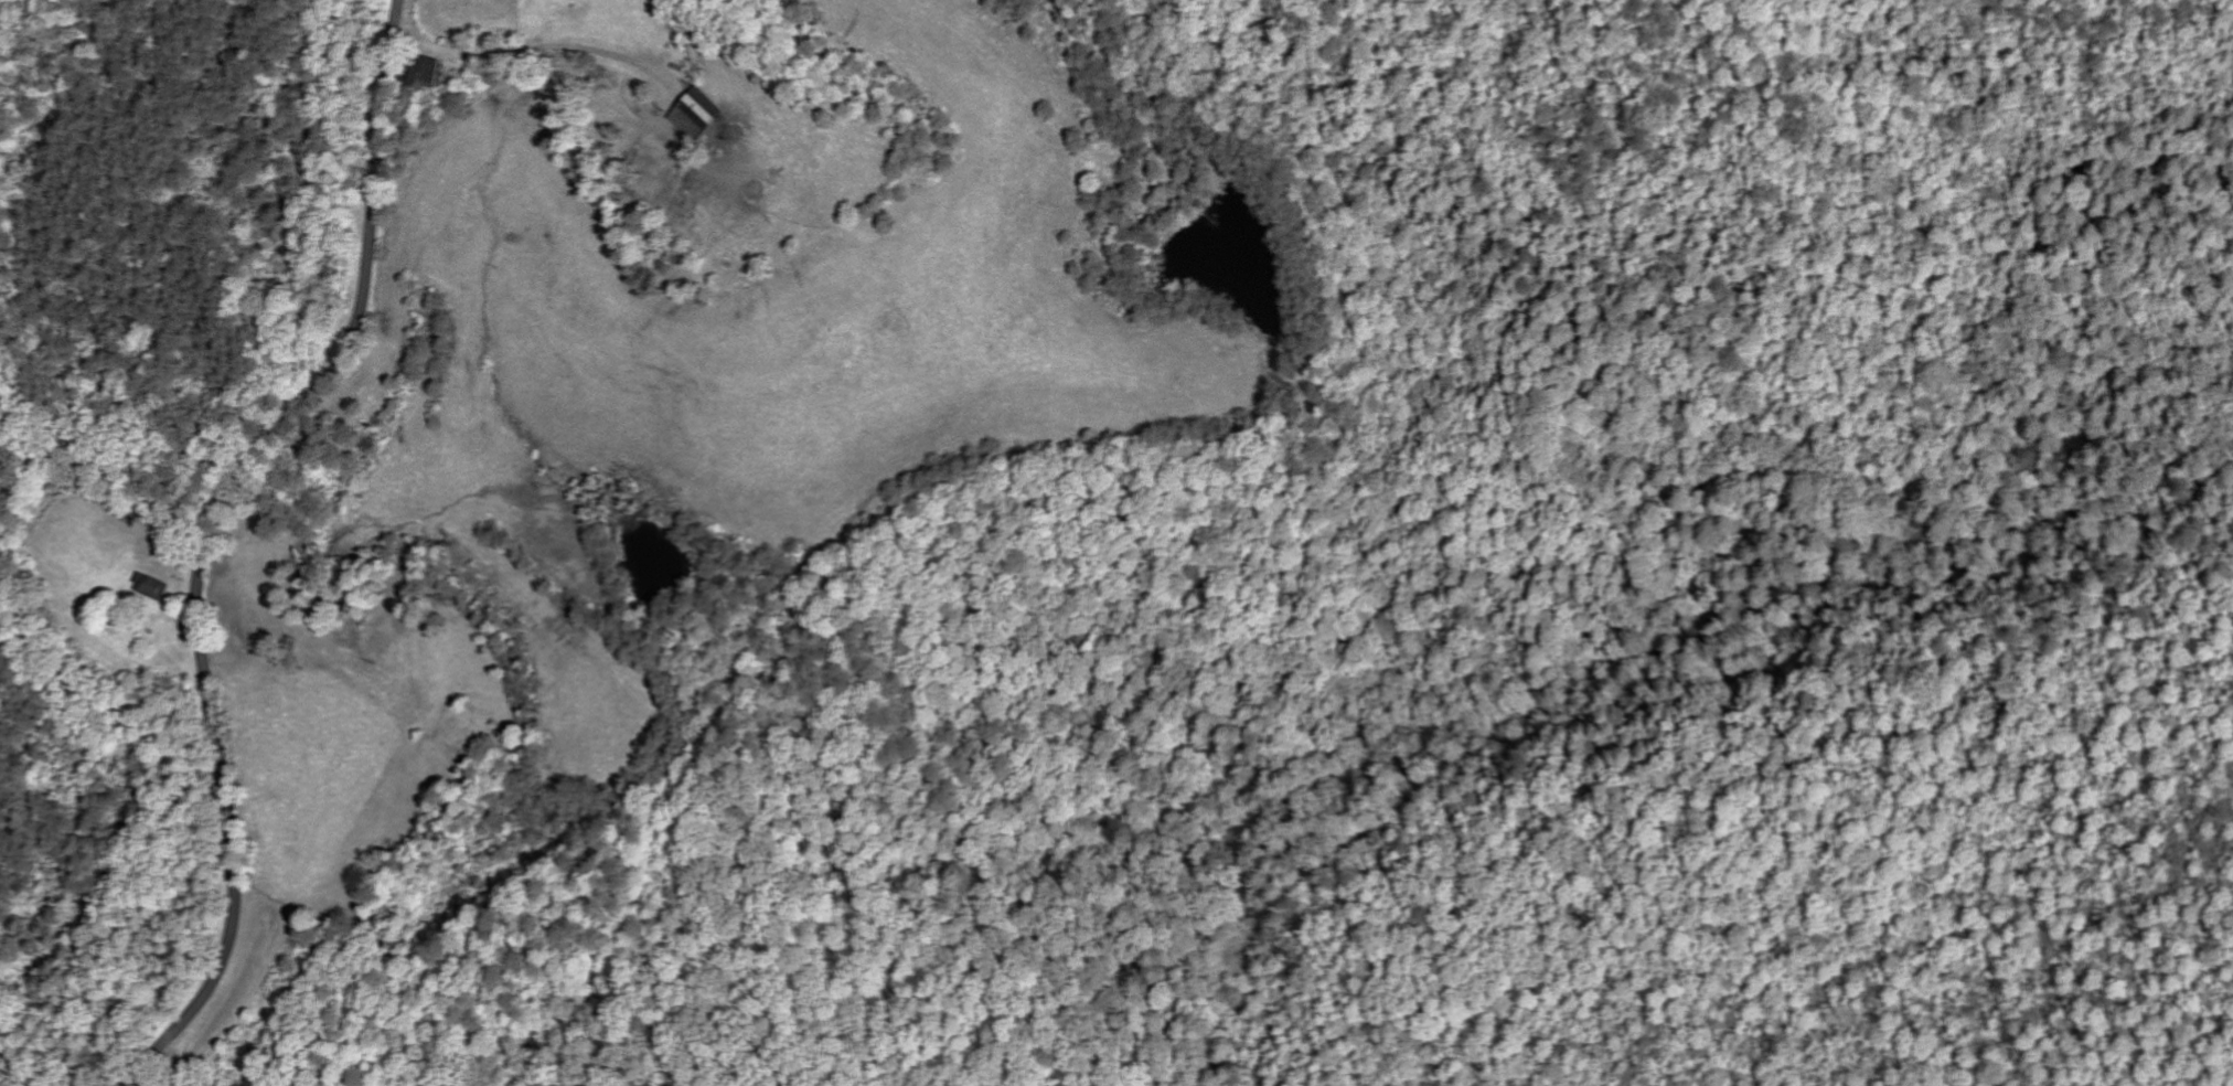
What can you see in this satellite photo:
building: (698, 117)
road: (210, 536)
building: (153, 587)

